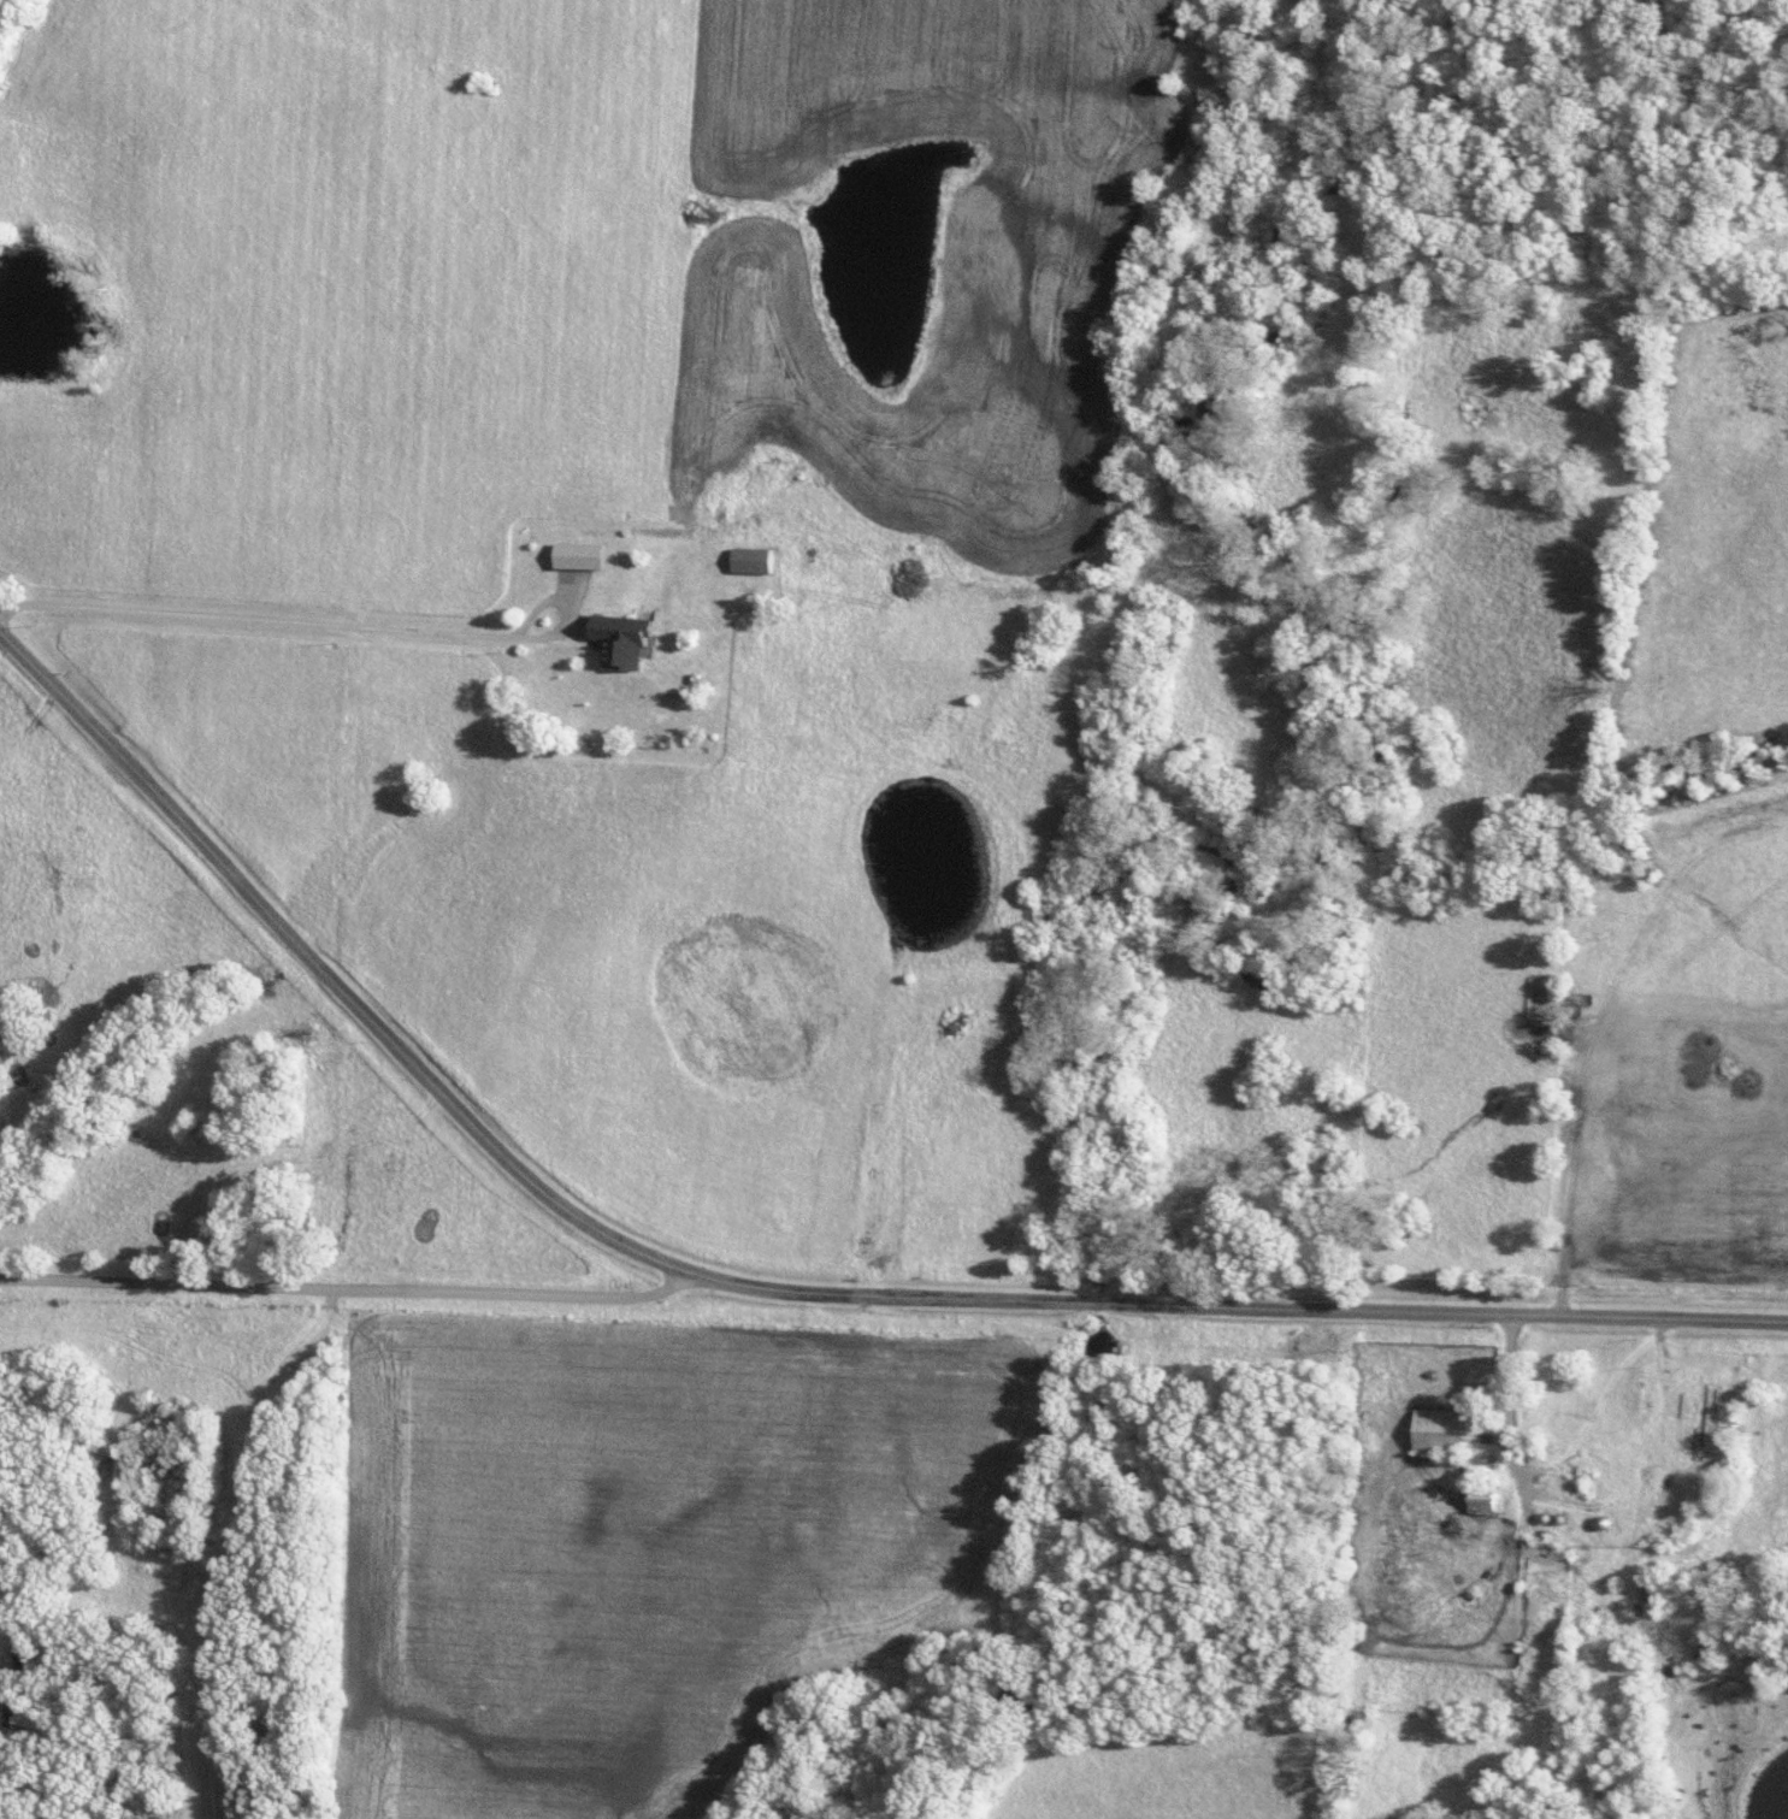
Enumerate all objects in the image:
building: (742, 542)
building: (573, 555)
building: (722, 591)
road: (309, 624)
building: (615, 640)
park: (248, 1147)
road: (343, 1287)
road: (762, 1289)
road: (1510, 1413)
building: (1433, 1431)
building: (1476, 1499)

